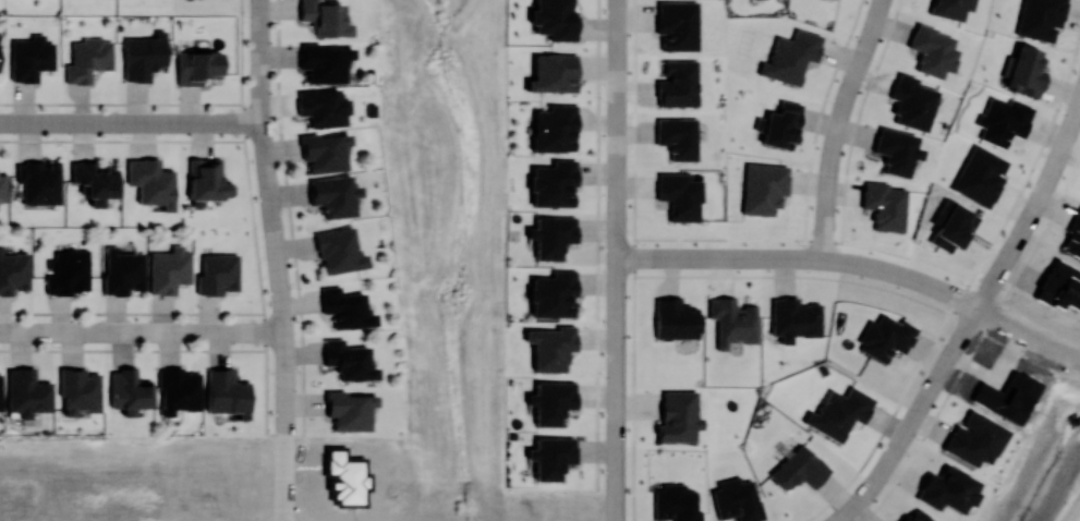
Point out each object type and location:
road: (259, 8)
building: (950, 8)
building: (325, 17)
building: (554, 19)
building: (1040, 19)
building: (677, 25)
building: (932, 50)
building: (144, 56)
building: (790, 56)
building: (31, 57)
building: (88, 59)
building: (324, 62)
building: (197, 66)
building: (1024, 71)
building: (553, 72)
building: (678, 84)
building: (911, 101)
building: (321, 107)
building: (1003, 120)
road: (130, 122)
building: (781, 125)
road: (836, 125)
building: (554, 128)
building: (677, 137)
road: (122, 140)
road: (244, 145)
building: (896, 150)
road: (263, 152)
building: (324, 152)
road: (1052, 166)
building: (980, 175)
building: (206, 179)
building: (94, 180)
building: (38, 181)
building: (150, 182)
building: (553, 183)
building: (2, 186)
building: (763, 186)
building: (333, 195)
building: (680, 195)
building: (884, 205)
building: (950, 226)
building: (551, 235)
park: (448, 249)
building: (338, 250)
road: (800, 257)
road: (616, 259)
building: (169, 269)
building: (13, 270)
building: (123, 270)
road: (997, 270)
building: (69, 271)
building: (217, 274)
road: (966, 288)
building: (553, 293)
building: (345, 307)
road: (282, 308)
building: (676, 318)
building: (793, 318)
building: (732, 320)
road: (1, 330)
road: (28, 331)
road: (100, 331)
road: (150, 331)
road: (173, 331)
road: (198, 331)
road: (244, 331)
road: (1022, 332)
building: (885, 337)
building: (550, 347)
road: (1075, 358)
building: (348, 360)
building: (178, 389)
building: (78, 390)
building: (129, 390)
building: (0, 392)
building: (26, 392)
building: (226, 392)
building: (550, 401)
building: (349, 410)
building: (838, 412)
building: (678, 415)
road: (911, 417)
road: (284, 425)
park: (1055, 426)
building: (973, 438)
building: (550, 457)
road: (909, 458)
building: (799, 468)
building: (947, 488)
building: (737, 499)
building: (675, 502)

